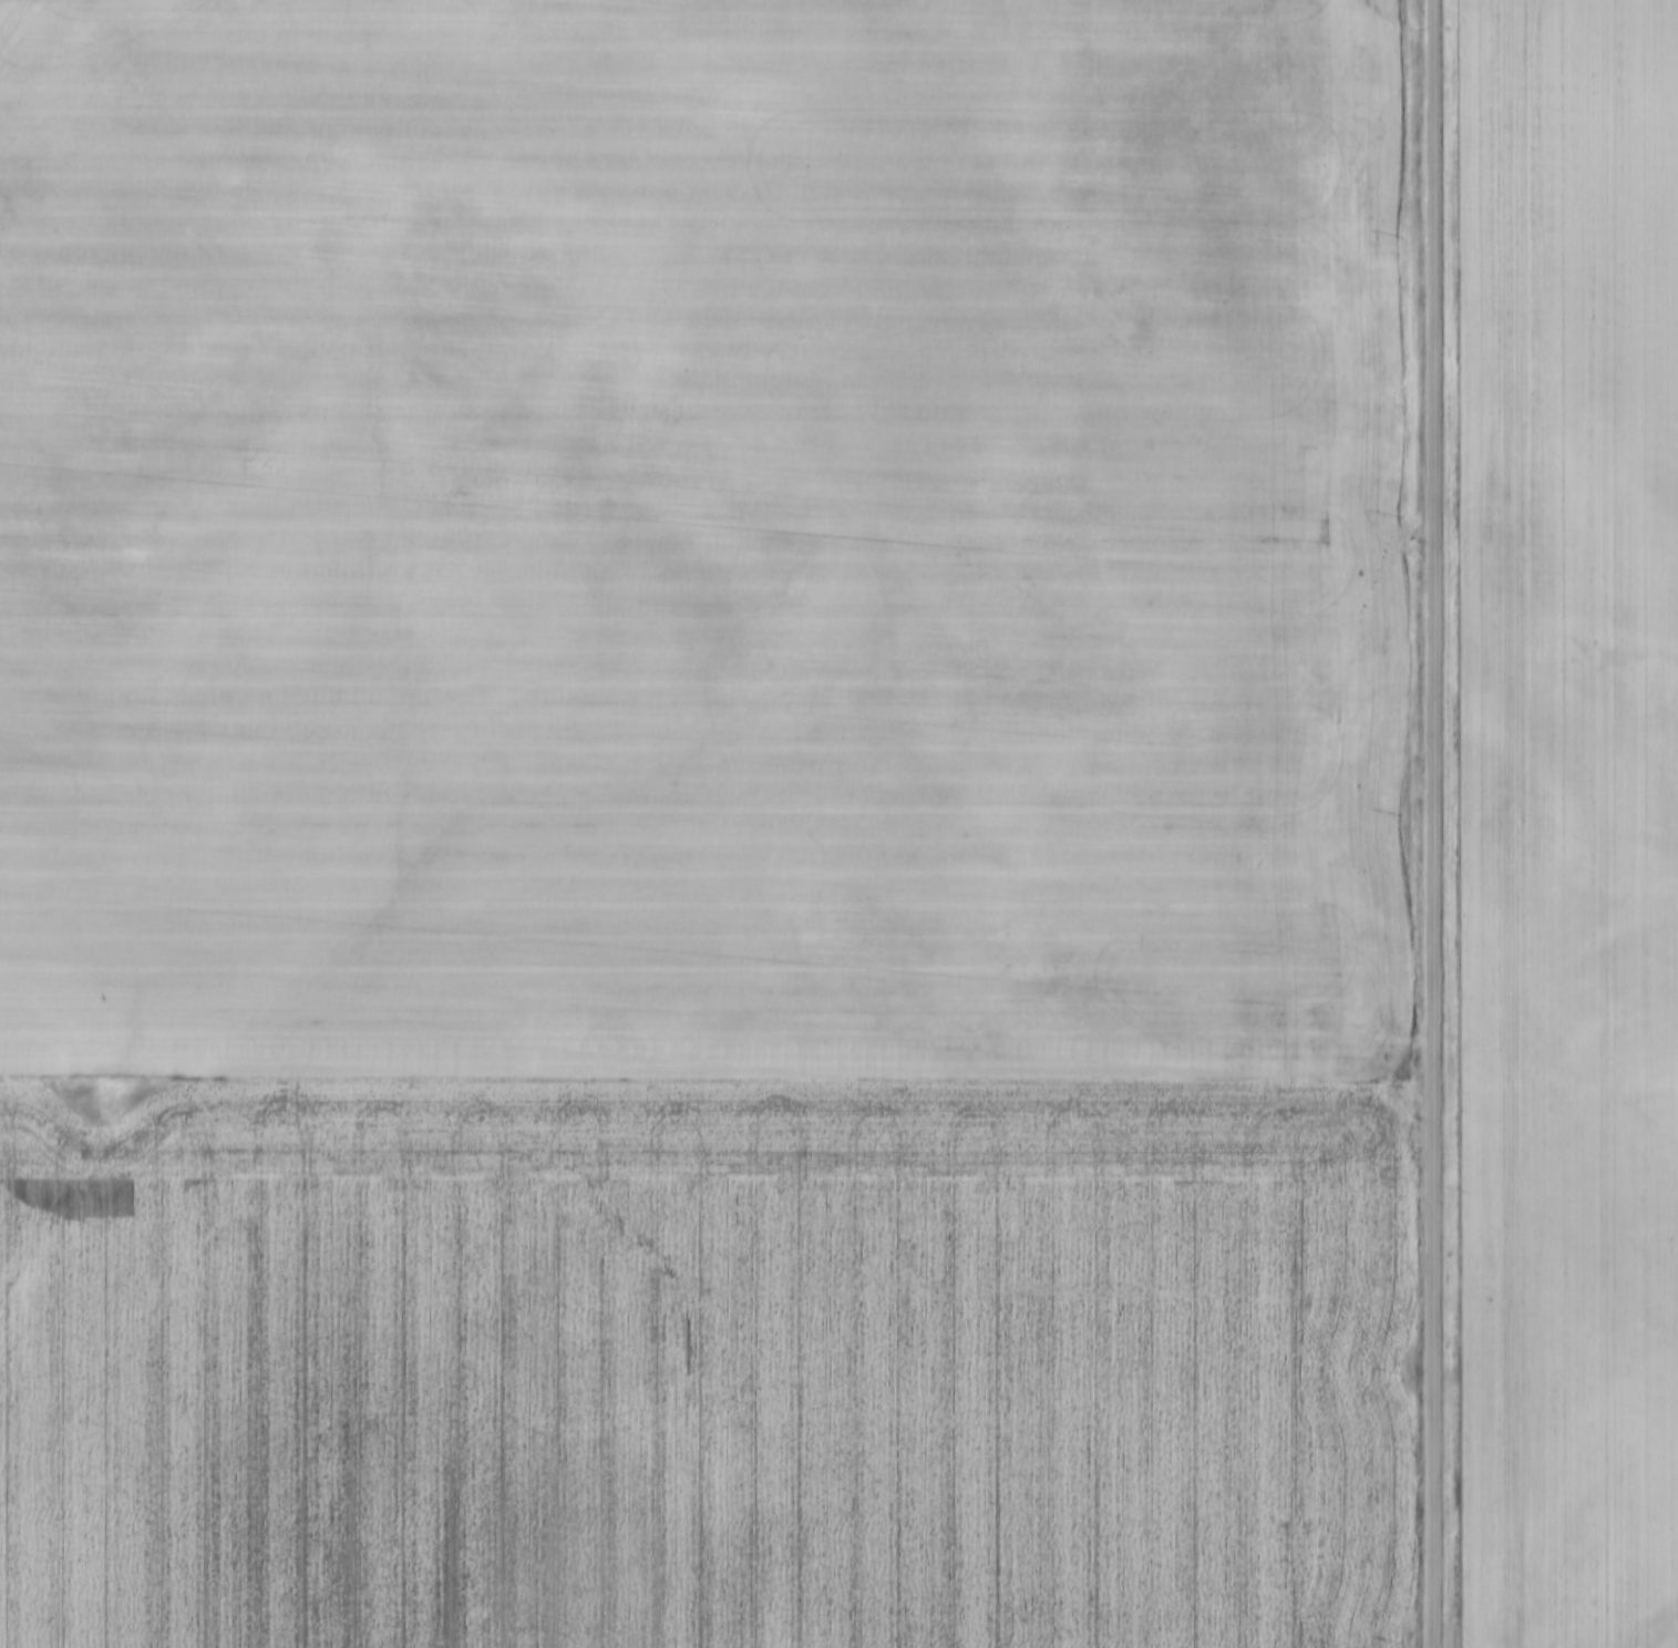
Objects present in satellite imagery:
road: (1429, 823)

